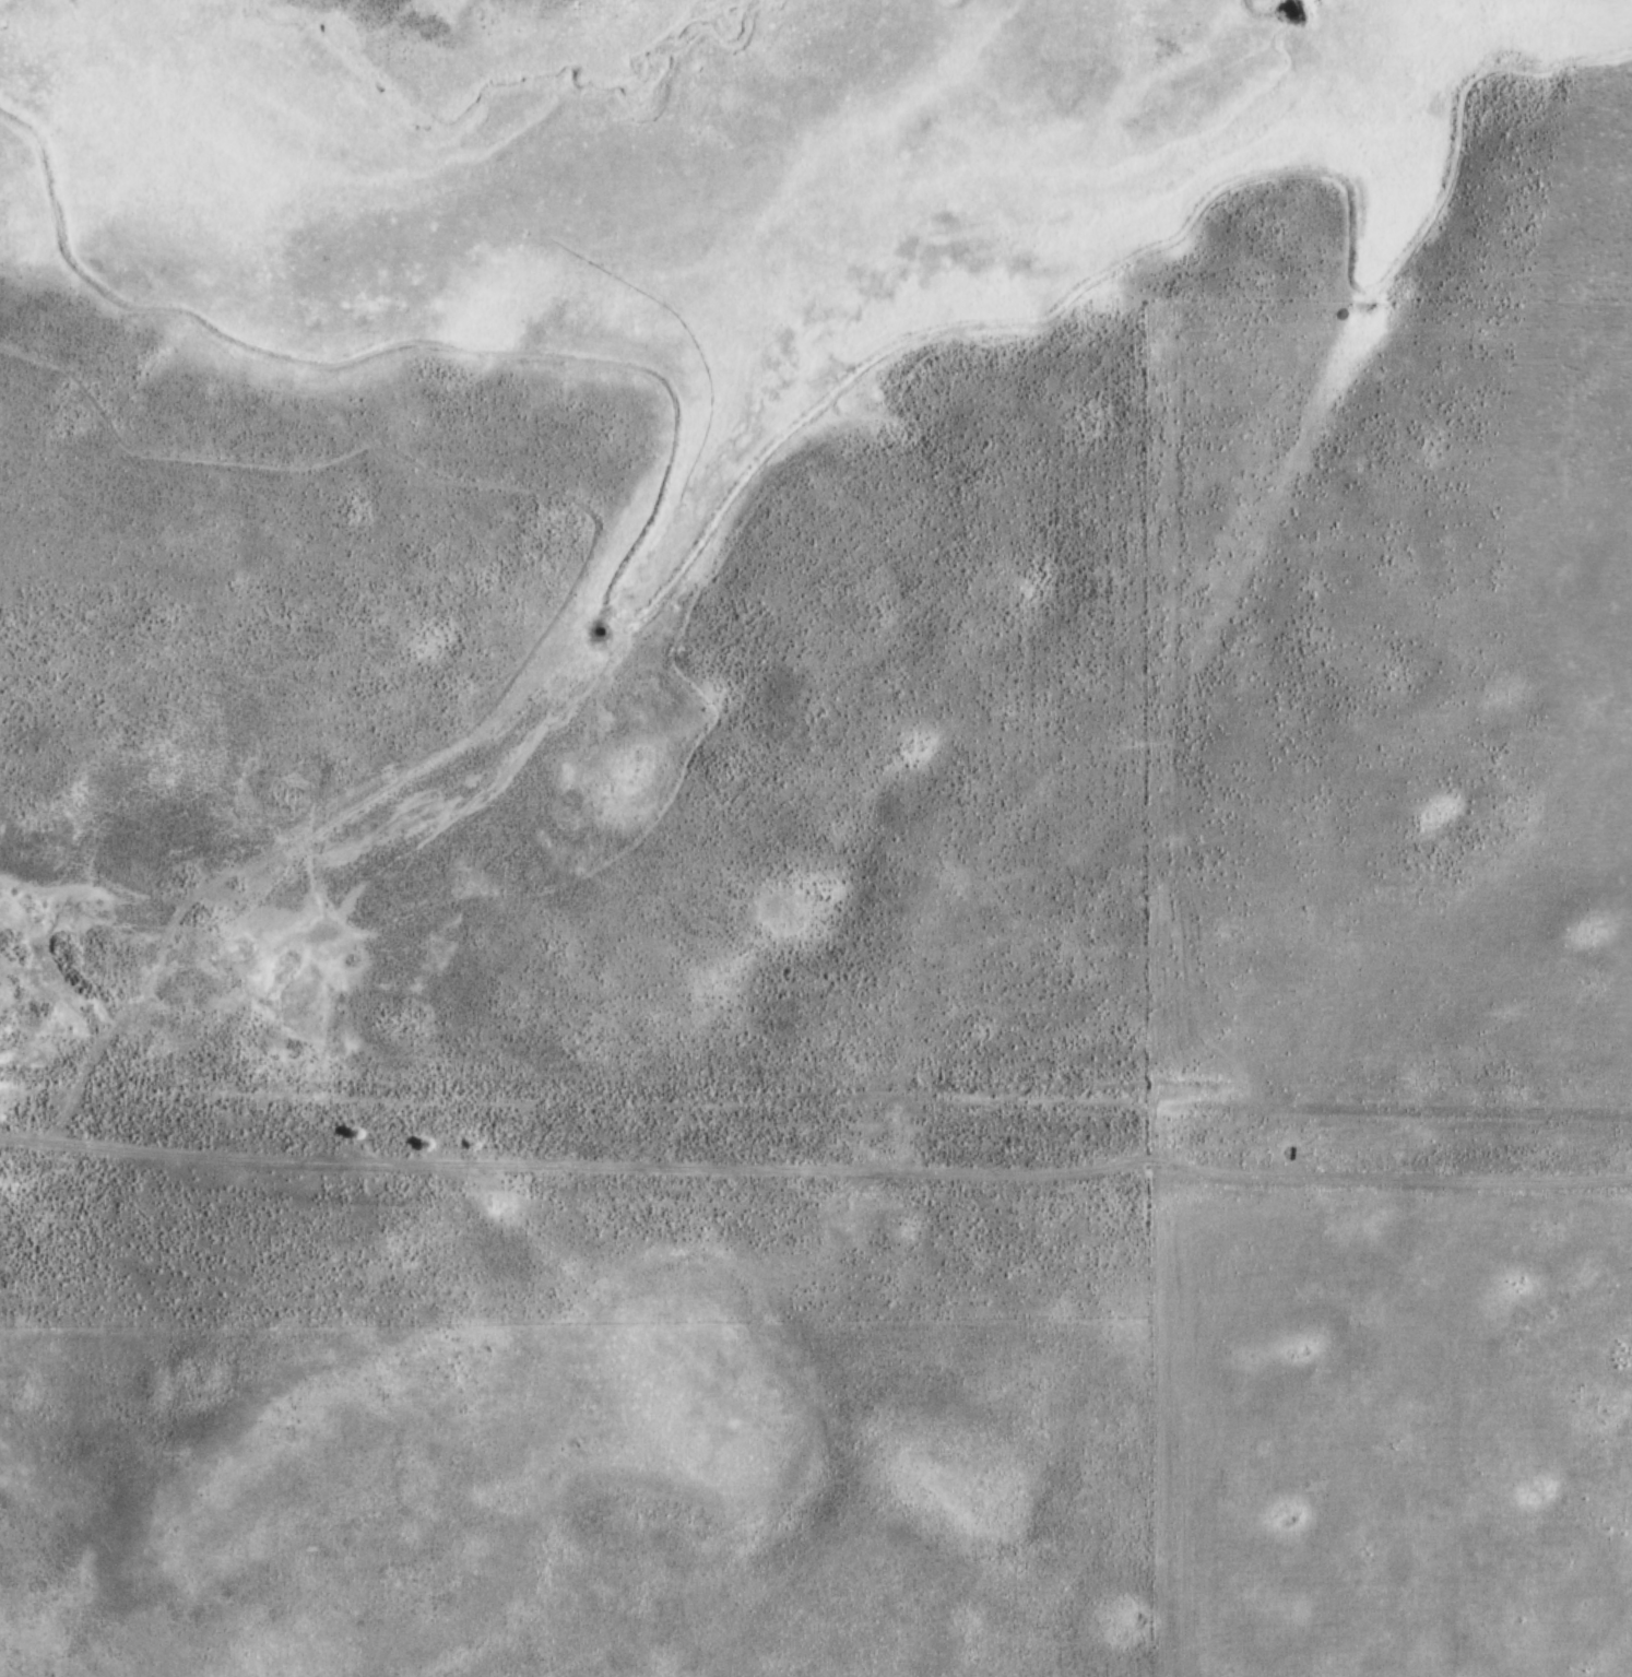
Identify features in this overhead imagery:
road: (815, 1245)

